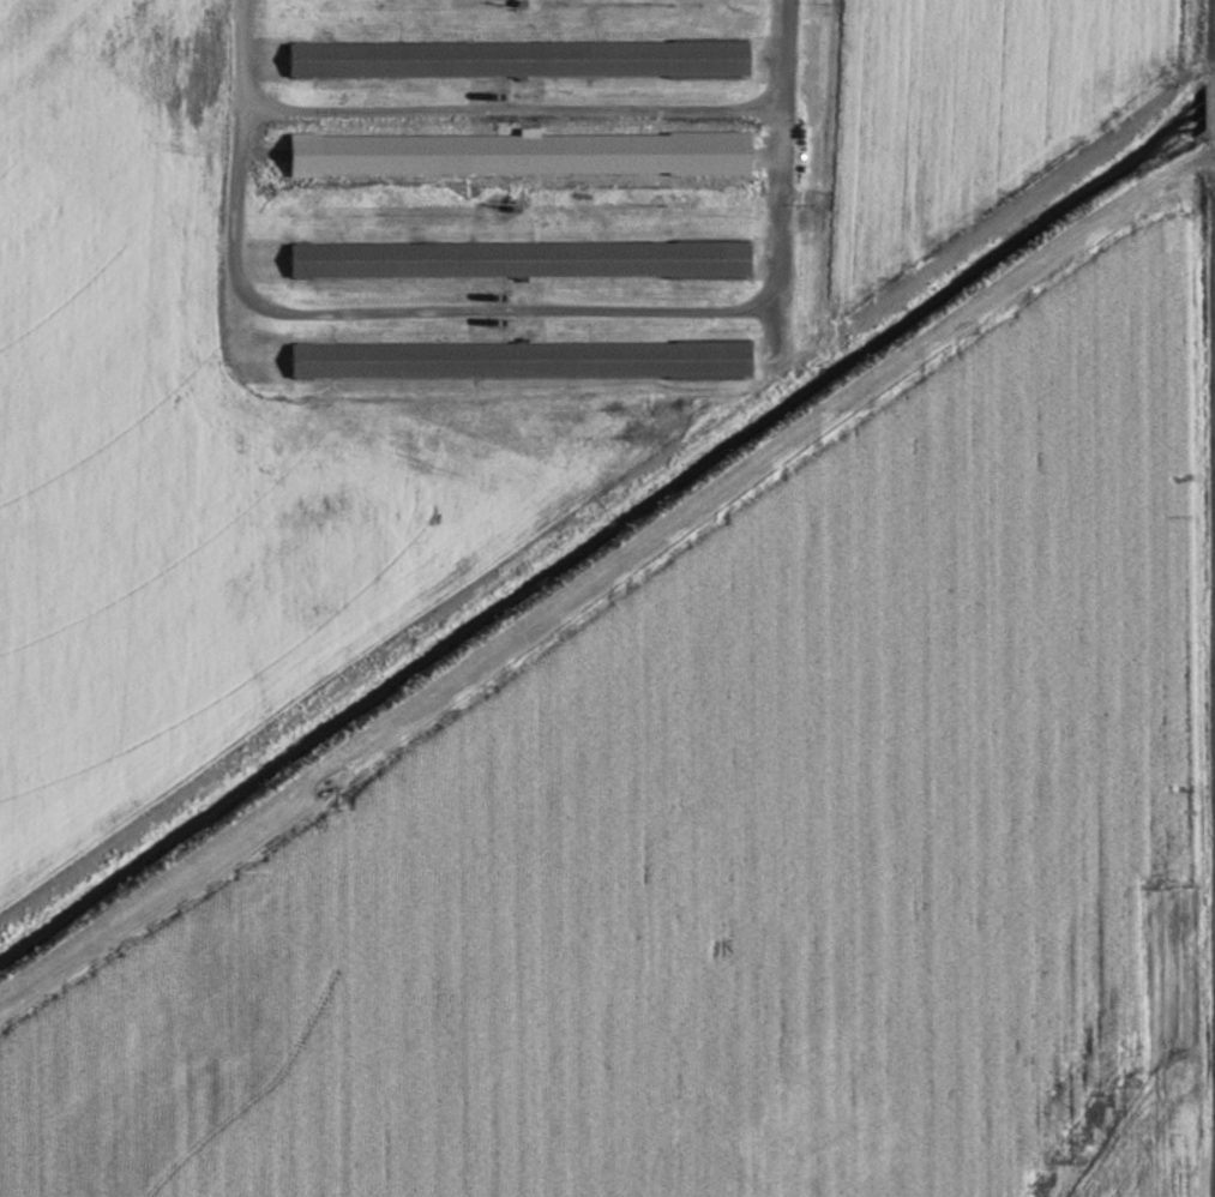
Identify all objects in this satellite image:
building: (522, 60)
building: (522, 161)
building: (523, 260)
building: (523, 361)

